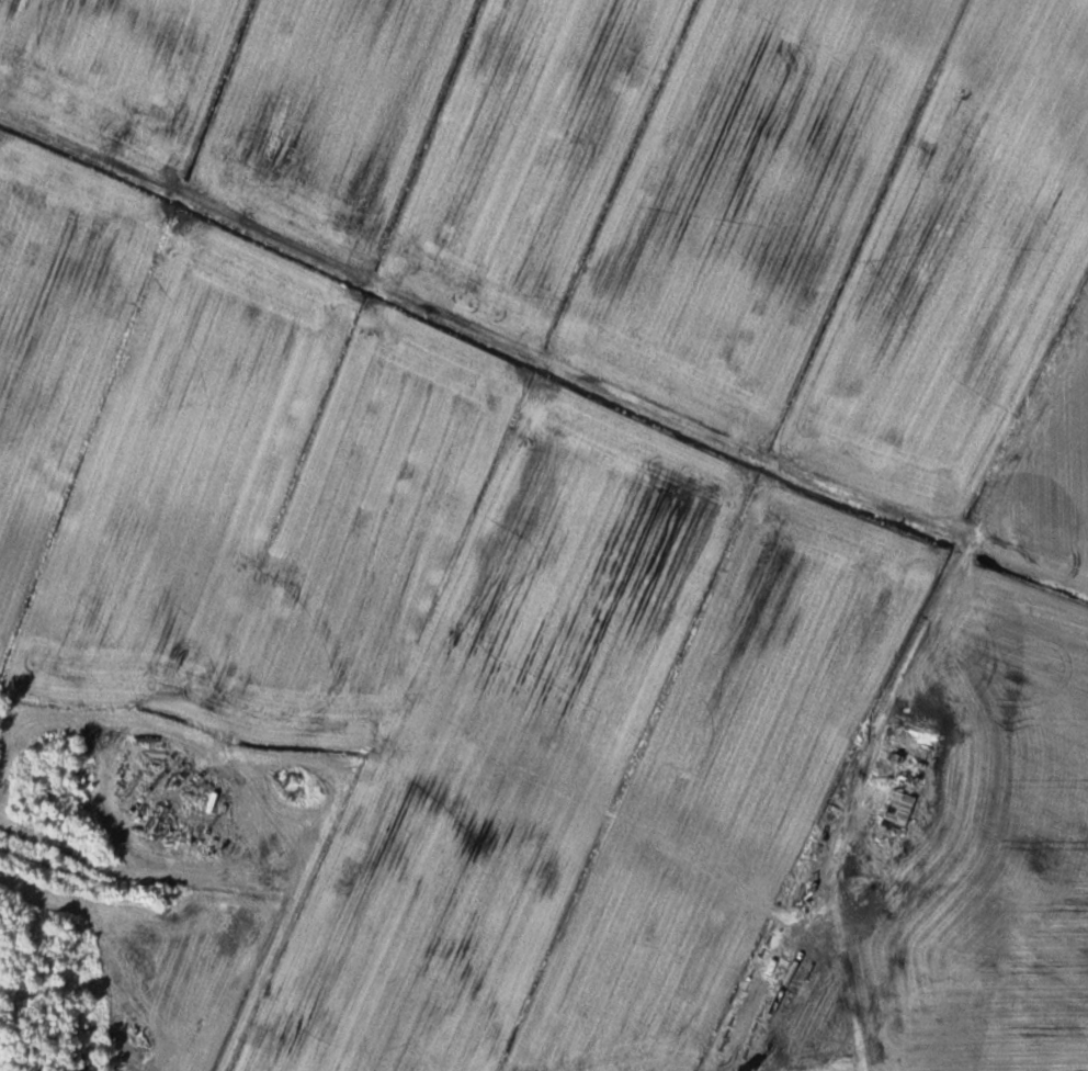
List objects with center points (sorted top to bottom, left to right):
road: (828, 929)

